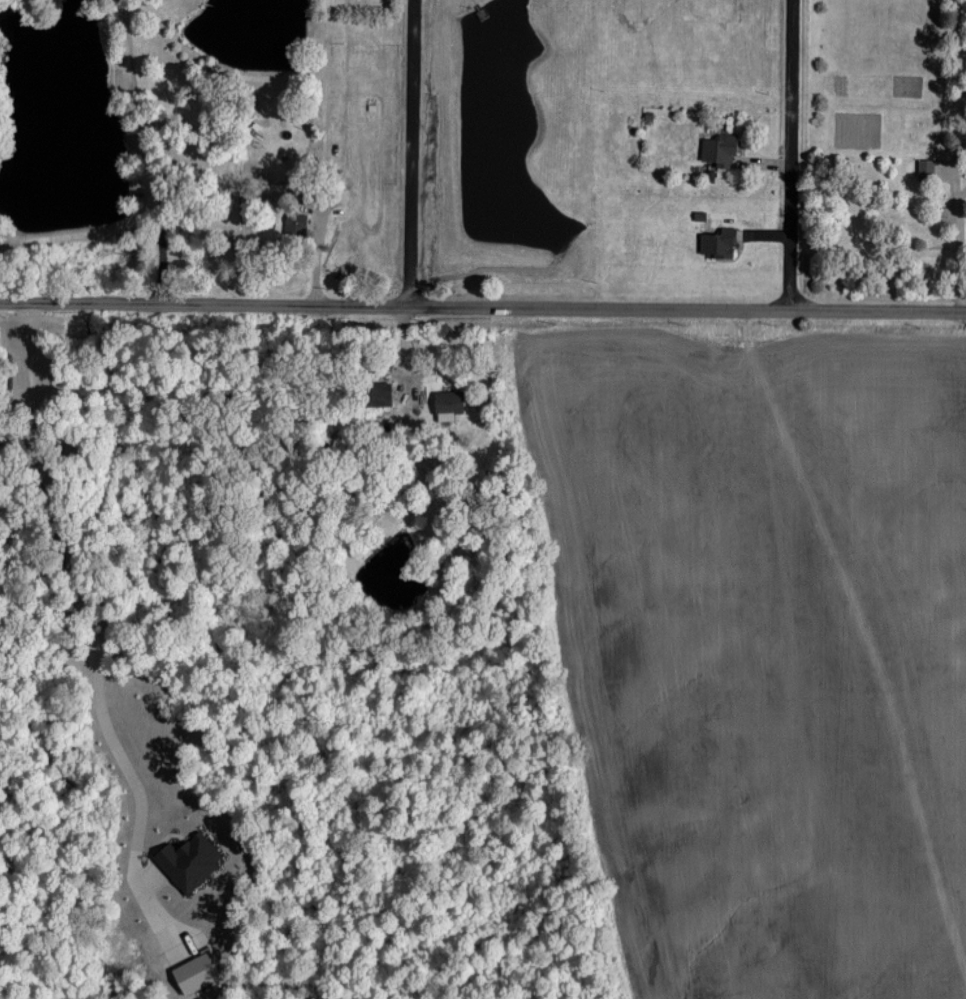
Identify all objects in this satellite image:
building: (719, 149)
road: (148, 150)
road: (412, 152)
road: (791, 154)
road: (953, 165)
building: (925, 168)
road: (962, 190)
building: (294, 222)
building: (717, 242)
road: (961, 253)
road: (482, 306)
building: (375, 393)
building: (447, 403)
road: (81, 598)
building: (187, 859)
building: (195, 970)

